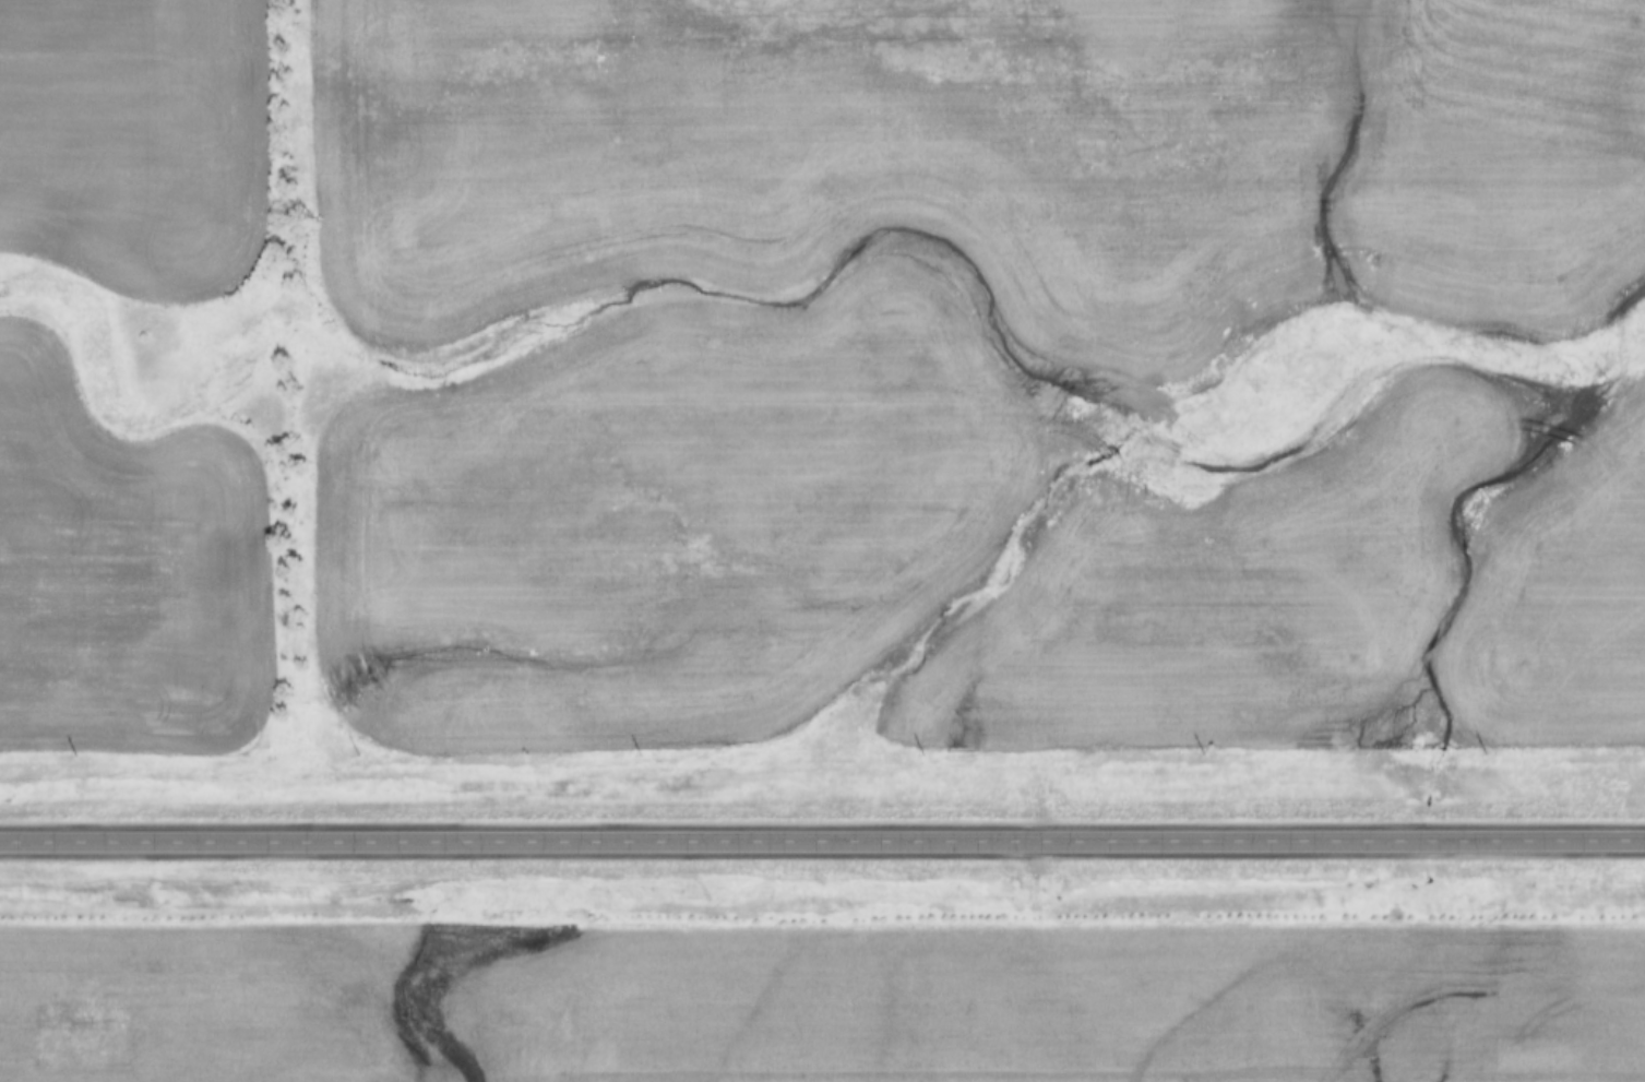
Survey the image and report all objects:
road: (822, 843)

